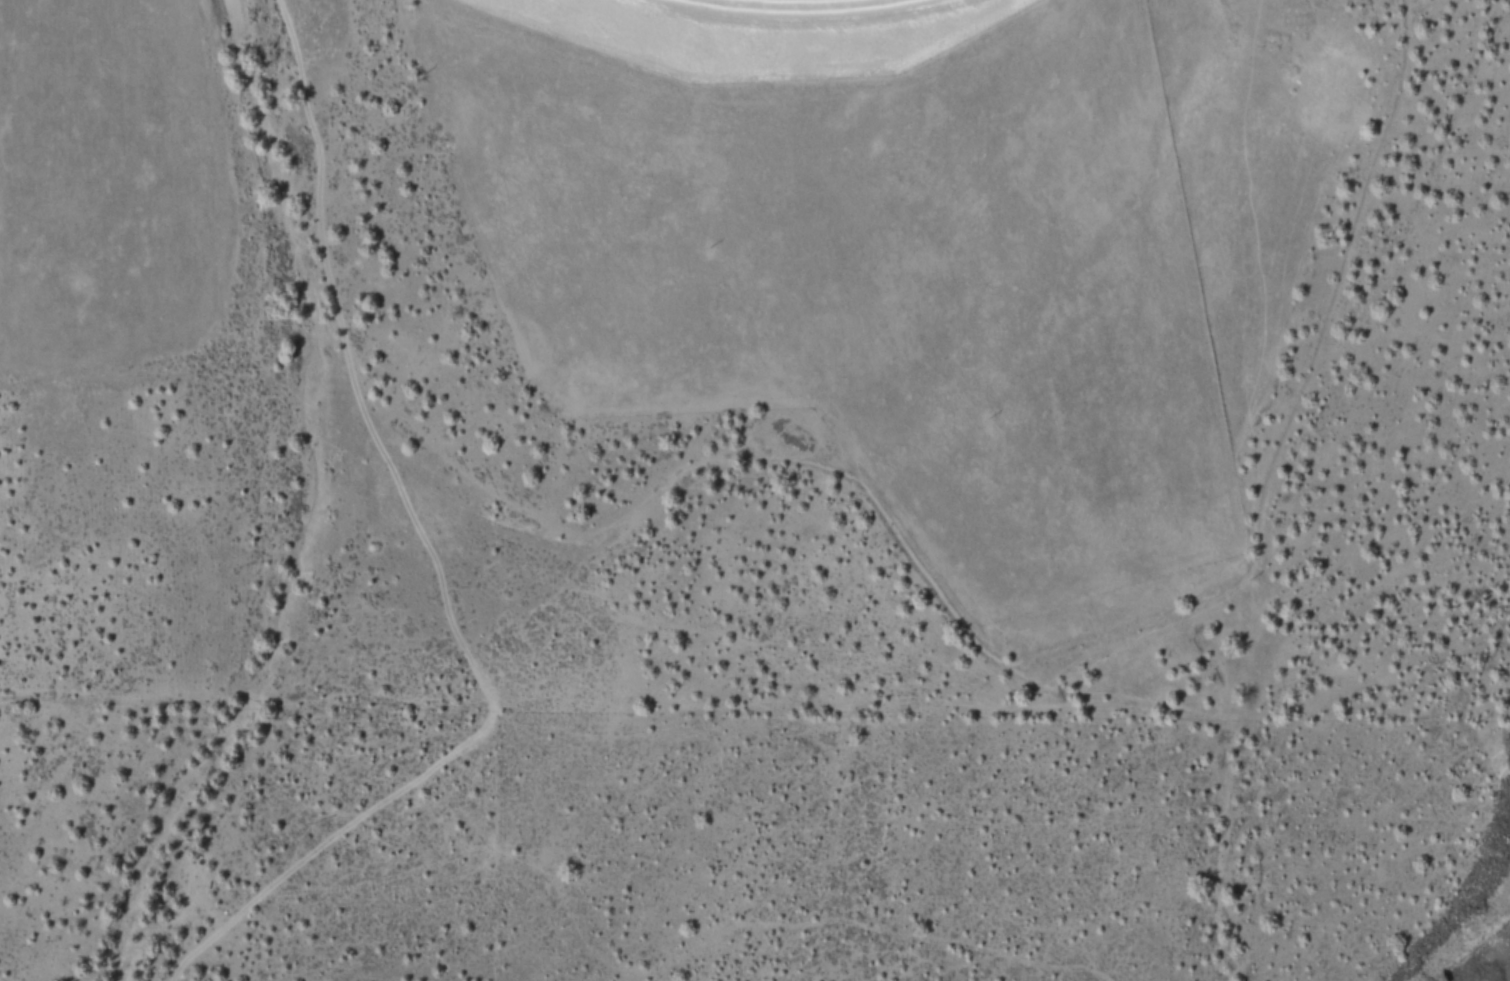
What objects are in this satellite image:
quarry: (1464, 897)

